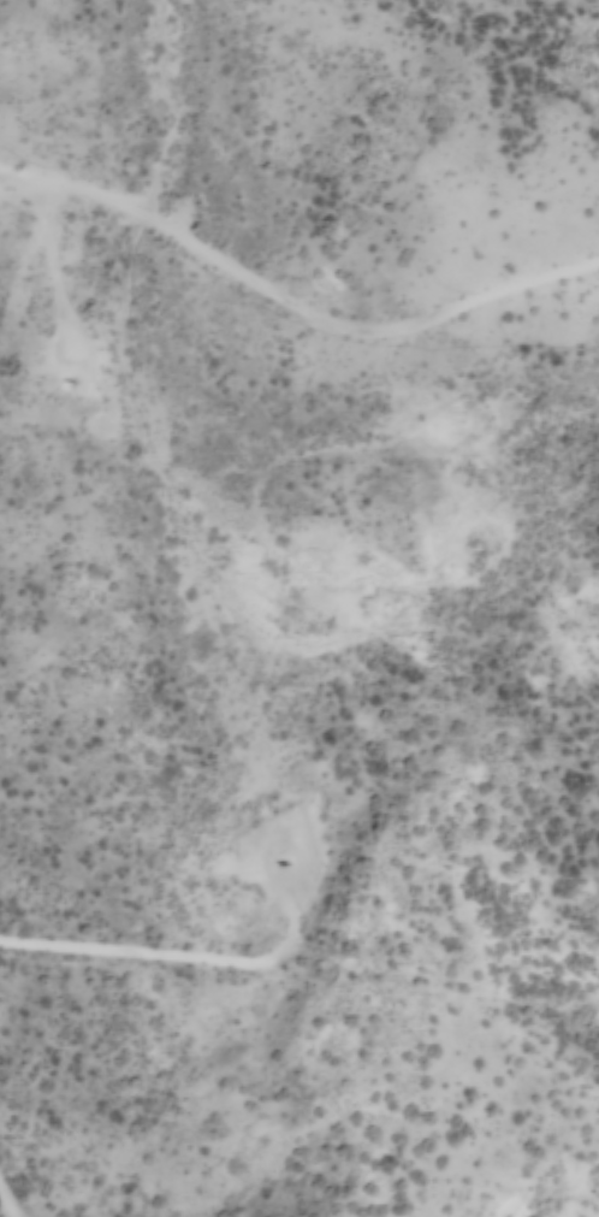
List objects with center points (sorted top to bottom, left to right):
road: (295, 286)

